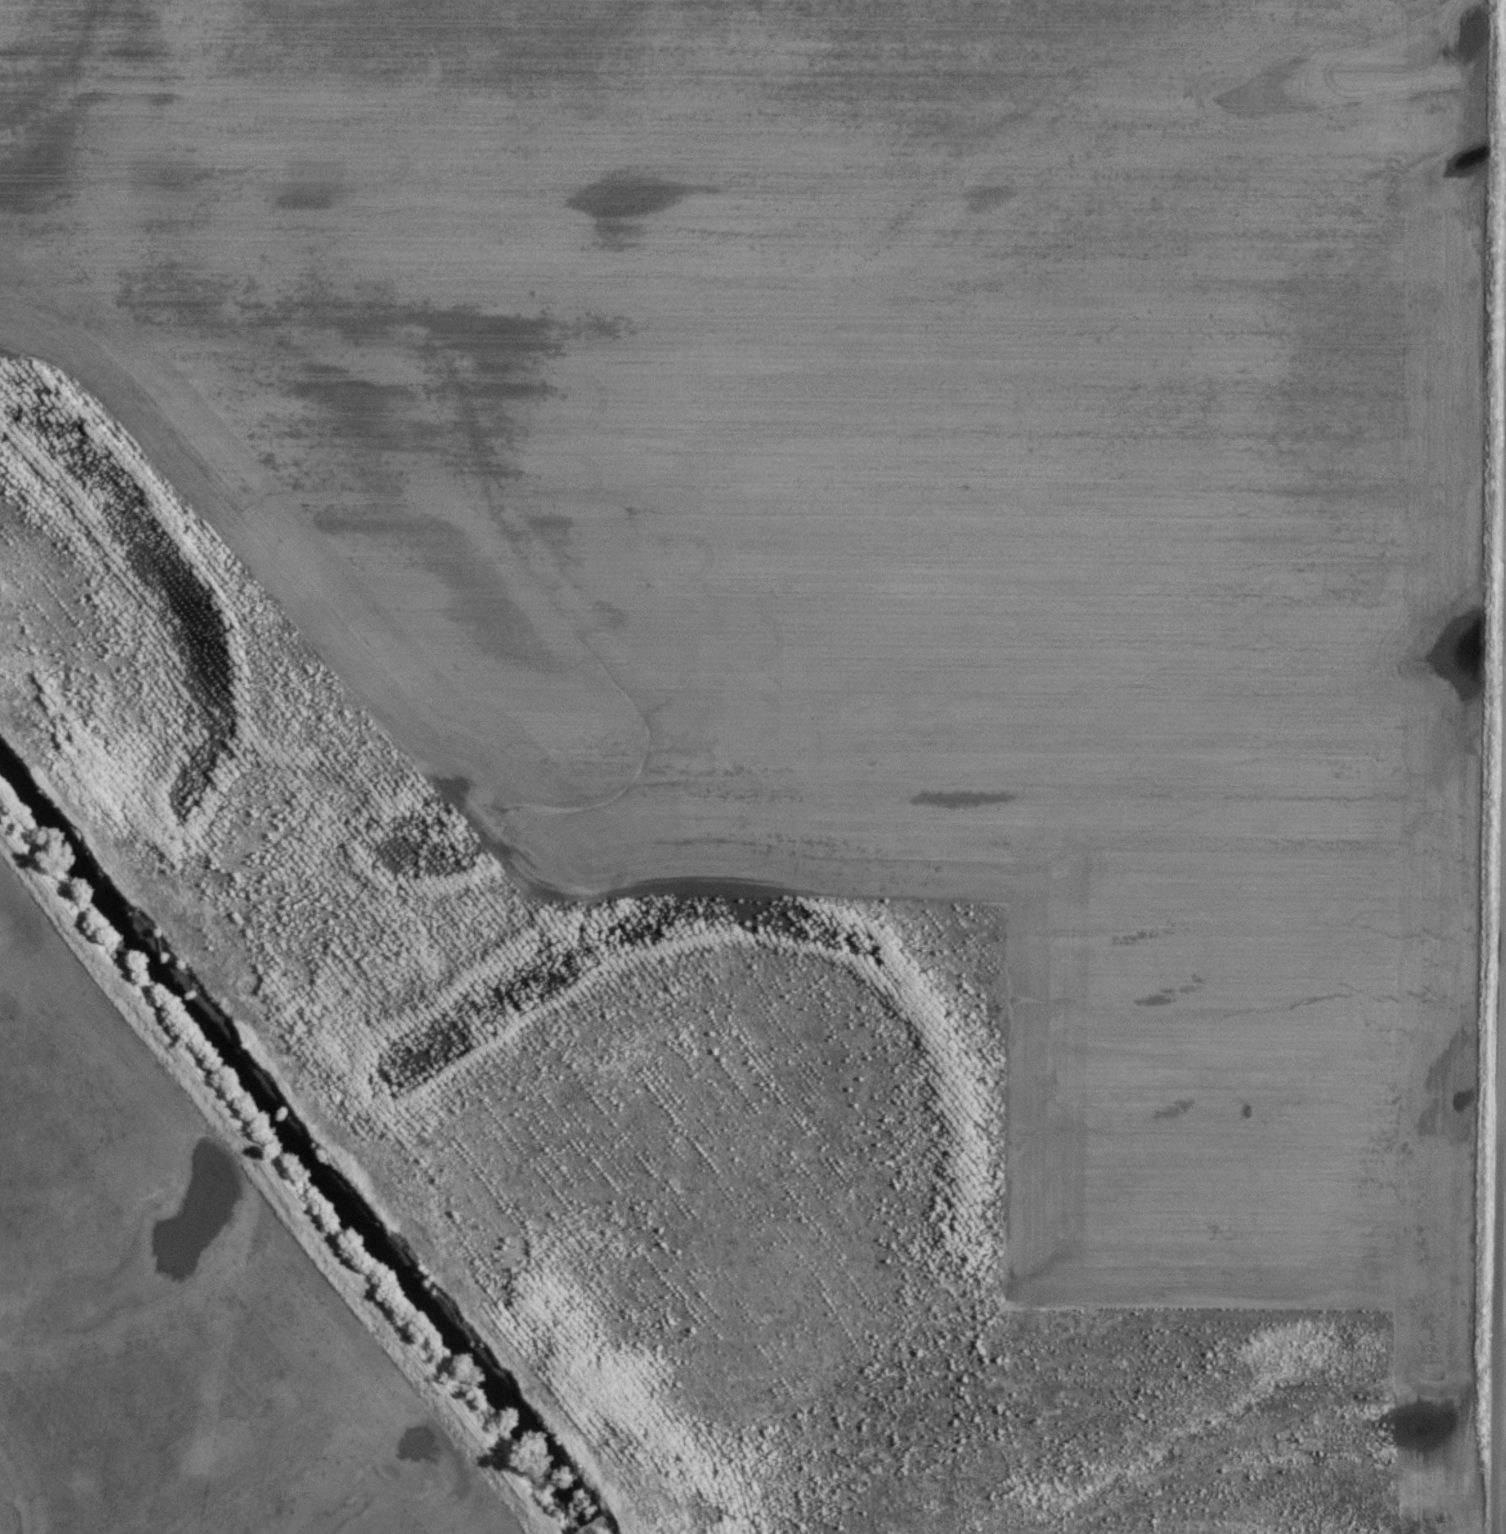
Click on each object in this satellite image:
road: (1499, 1038)

